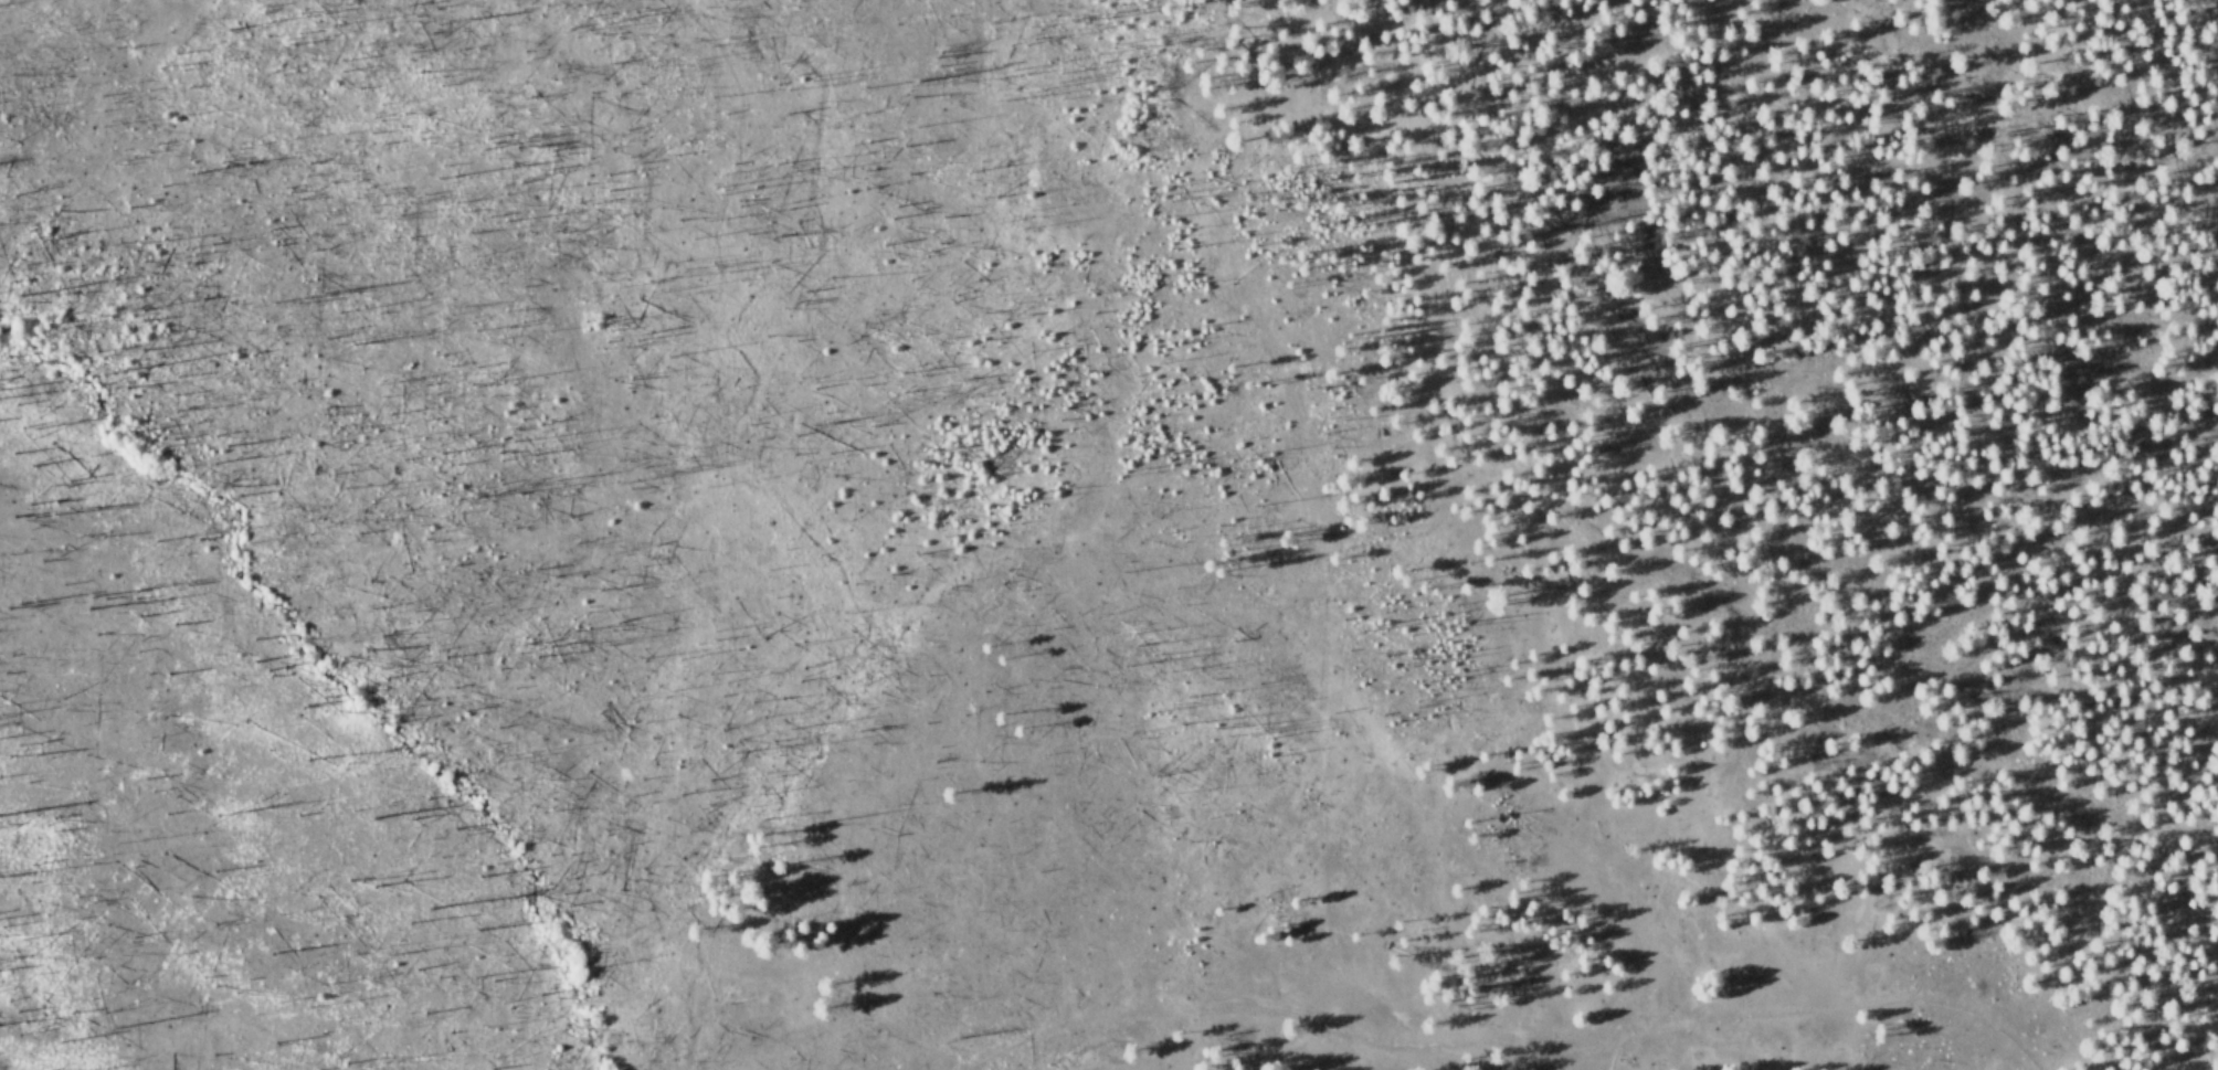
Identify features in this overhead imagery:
road: (2217, 0)

